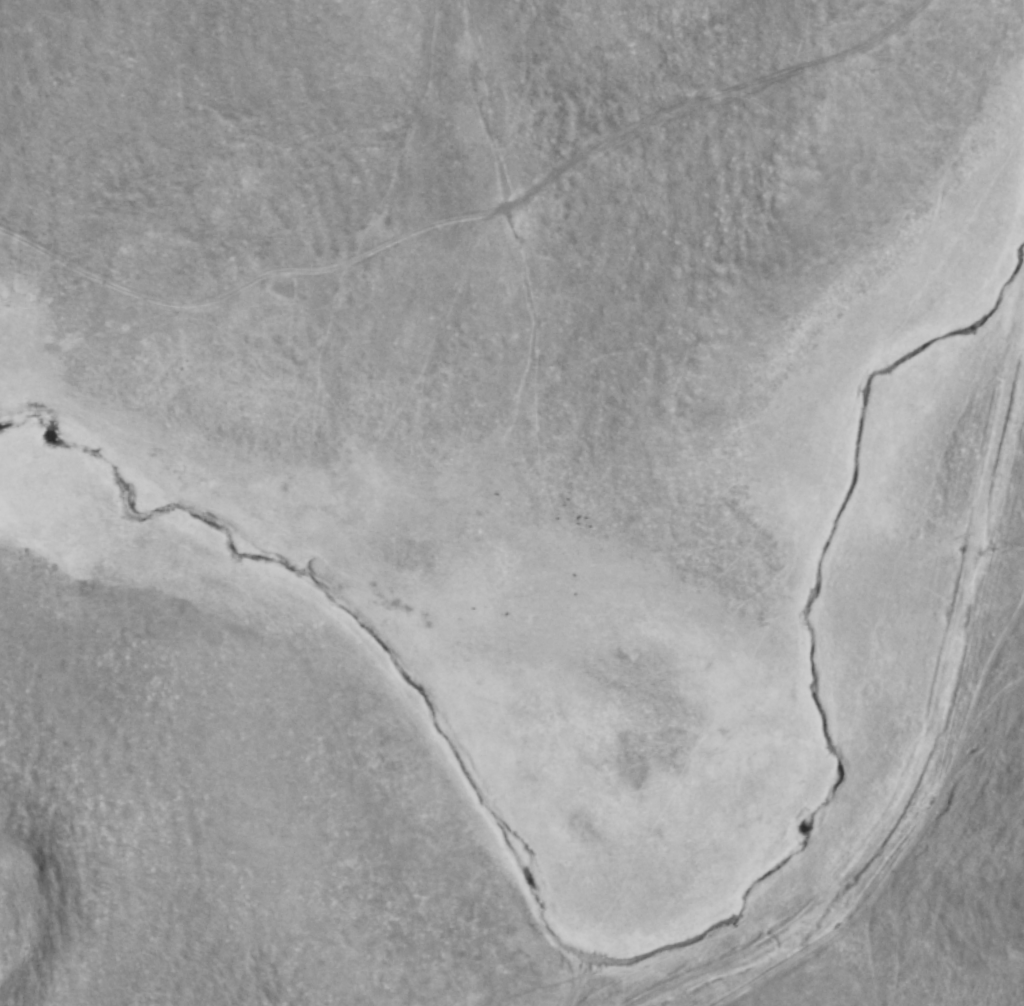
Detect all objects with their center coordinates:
road: (428, 181)

